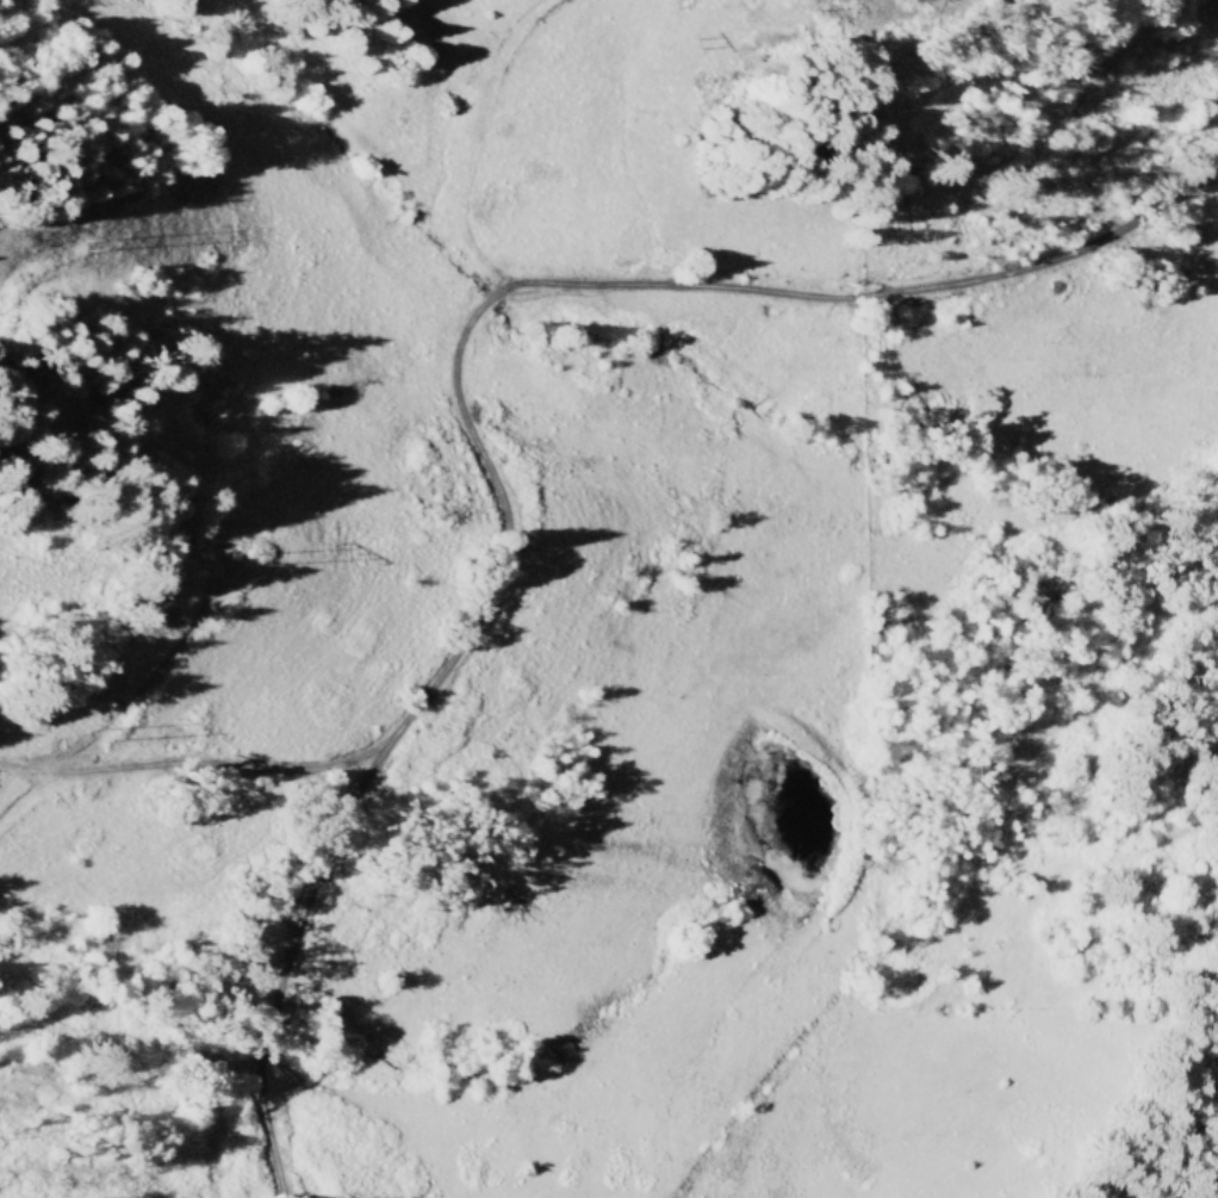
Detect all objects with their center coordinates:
power tower: (688, 49)
power tower: (76, 243)

